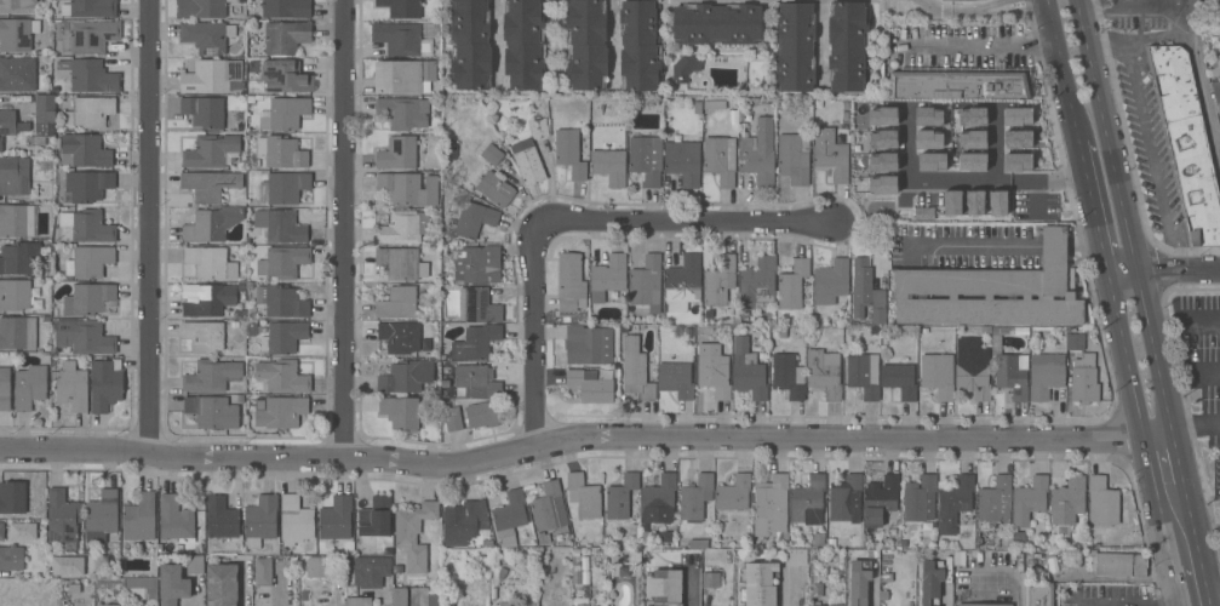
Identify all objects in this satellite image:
building: (939, 0)
building: (18, 6)
building: (201, 7)
building: (401, 7)
road: (986, 7)
building: (90, 8)
building: (286, 8)
building: (235, 12)
building: (716, 24)
building: (17, 34)
road: (494, 34)
building: (206, 35)
building: (86, 36)
building: (286, 36)
road: (1190, 38)
building: (401, 39)
road: (609, 42)
building: (470, 44)
building: (523, 44)
building: (586, 44)
road: (1138, 44)
building: (640, 45)
building: (794, 46)
building: (847, 46)
road: (983, 48)
building: (1216, 63)
building: (685, 68)
road: (1061, 68)
building: (17, 74)
building: (88, 75)
building: (402, 75)
building: (211, 76)
building: (285, 76)
building: (957, 85)
building: (1215, 93)
building: (250, 101)
building: (714, 104)
building: (844, 105)
building: (90, 112)
building: (204, 112)
building: (403, 112)
building: (44, 113)
building: (285, 114)
building: (844, 116)
building: (882, 116)
building: (928, 116)
building: (972, 116)
building: (1016, 116)
building: (1219, 119)
building: (11, 124)
building: (234, 126)
building: (538, 127)
building: (882, 139)
building: (928, 139)
building: (972, 139)
building: (1016, 139)
building: (1186, 143)
building: (0, 145)
building: (469, 147)
building: (85, 150)
building: (210, 151)
building: (281, 151)
building: (397, 153)
building: (569, 153)
building: (758, 153)
building: (491, 154)
building: (468, 156)
building: (794, 158)
building: (830, 158)
road: (1152, 158)
building: (646, 159)
building: (720, 159)
building: (930, 161)
building: (254, 162)
building: (527, 162)
building: (682, 162)
building: (970, 162)
building: (1016, 162)
building: (472, 164)
building: (609, 166)
building: (464, 168)
building: (870, 168)
building: (480, 170)
building: (15, 177)
road: (957, 181)
building: (882, 183)
building: (210, 185)
building: (86, 187)
building: (286, 187)
building: (408, 188)
building: (494, 189)
building: (951, 202)
building: (974, 202)
building: (997, 202)
road: (1092, 204)
building: (923, 213)
building: (474, 219)
building: (17, 221)
road: (683, 221)
road: (1123, 221)
building: (211, 224)
building: (87, 225)
road: (150, 225)
building: (280, 225)
building: (403, 228)
road: (344, 229)
building: (248, 242)
road: (978, 247)
road: (1054, 248)
road: (1083, 248)
building: (18, 257)
building: (88, 262)
building: (283, 262)
building: (210, 263)
building: (401, 263)
building: (477, 263)
road: (1162, 270)
building: (607, 278)
building: (720, 280)
building: (646, 281)
building: (830, 281)
building: (571, 282)
building: (683, 282)
building: (757, 282)
building: (792, 285)
building: (240, 286)
building: (866, 292)
building: (993, 292)
building: (15, 295)
building: (88, 298)
building: (208, 301)
building: (281, 302)
building: (397, 303)
building: (477, 307)
building: (241, 314)
building: (45, 320)
building: (234, 325)
building: (253, 330)
road: (535, 331)
building: (924, 331)
building: (985, 331)
building: (996, 331)
building: (17, 332)
building: (858, 332)
building: (1018, 332)
building: (688, 333)
building: (82, 337)
building: (205, 337)
building: (283, 337)
building: (402, 337)
building: (44, 339)
building: (1075, 341)
building: (474, 343)
building: (588, 344)
building: (55, 353)
building: (972, 368)
building: (635, 370)
building: (446, 371)
building: (748, 371)
building: (824, 372)
building: (714, 375)
building: (864, 375)
building: (938, 375)
building: (1012, 375)
building: (1046, 375)
building: (210, 376)
building: (282, 376)
building: (406, 376)
building: (787, 376)
building: (899, 376)
building: (675, 379)
building: (1084, 379)
building: (476, 381)
building: (105, 384)
building: (445, 384)
building: (71, 385)
building: (590, 385)
building: (29, 387)
building: (5, 389)
building: (239, 399)
building: (212, 411)
building: (279, 411)
building: (400, 412)
building: (482, 415)
road: (1139, 418)
building: (453, 423)
road: (1195, 429)
road: (583, 438)
road: (1176, 463)
building: (1021, 469)
building: (733, 493)
building: (584, 496)
building: (620, 496)
building: (658, 496)
building: (12, 497)
building: (695, 497)
building: (920, 498)
building: (846, 499)
building: (880, 499)
building: (807, 501)
building: (995, 501)
building: (1029, 501)
building: (1067, 501)
building: (1104, 503)
building: (773, 504)
building: (955, 504)
building: (549, 508)
building: (102, 515)
building: (509, 516)
building: (139, 518)
building: (220, 518)
building: (63, 519)
building: (174, 520)
building: (259, 520)
building: (294, 520)
building: (336, 520)
building: (374, 520)
building: (463, 521)
building: (1, 531)
building: (22, 531)
building: (413, 533)
building: (1219, 536)
building: (542, 537)
building: (756, 538)
building: (1012, 539)
building: (606, 541)
building: (819, 541)
building: (486, 543)
road: (1195, 544)
building: (872, 545)
building: (574, 551)
building: (796, 556)
building: (11, 558)
building: (195, 564)
building: (1116, 564)
building: (67, 566)
building: (317, 566)
building: (263, 571)
building: (370, 571)
road: (1189, 577)
road: (1212, 577)
building: (886, 578)
building: (710, 579)
building: (859, 582)
building: (930, 582)
building: (109, 583)
road: (241, 583)
building: (172, 584)
building: (222, 584)
building: (761, 584)
road: (1175, 584)
building: (664, 587)
building: (74, 589)
road: (691, 589)
road: (1015, 589)
building: (141, 590)
building: (817, 590)
road: (872, 594)
building: (1038, 594)
building: (302, 596)
building: (399, 596)
building: (433, 596)
road: (780, 596)
building: (884, 596)
building: (448, 599)
building: (359, 601)
road: (385, 601)
building: (516, 604)
building: (104, 605)
building: (582, 605)
building: (835, 605)
building: (984, 605)
road: (1163, 605)

